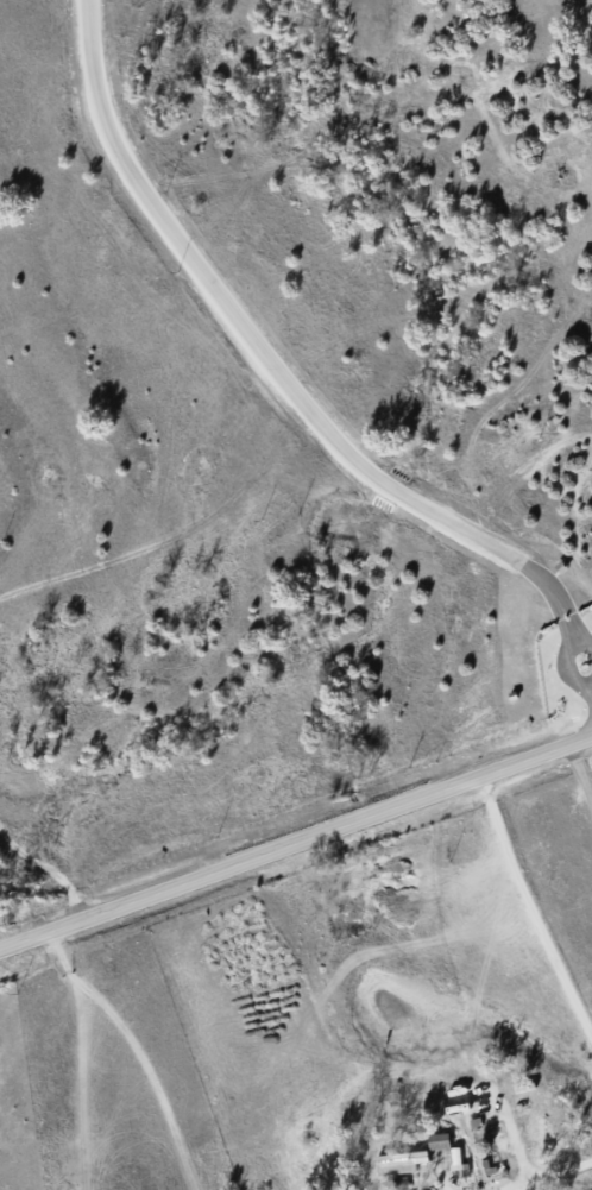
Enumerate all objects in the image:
road: (286, 388)
road: (579, 774)
road: (295, 837)
road: (46, 871)
road: (529, 914)
road: (131, 1050)
building: (445, 1150)
building: (398, 1163)
road: (553, 1172)

